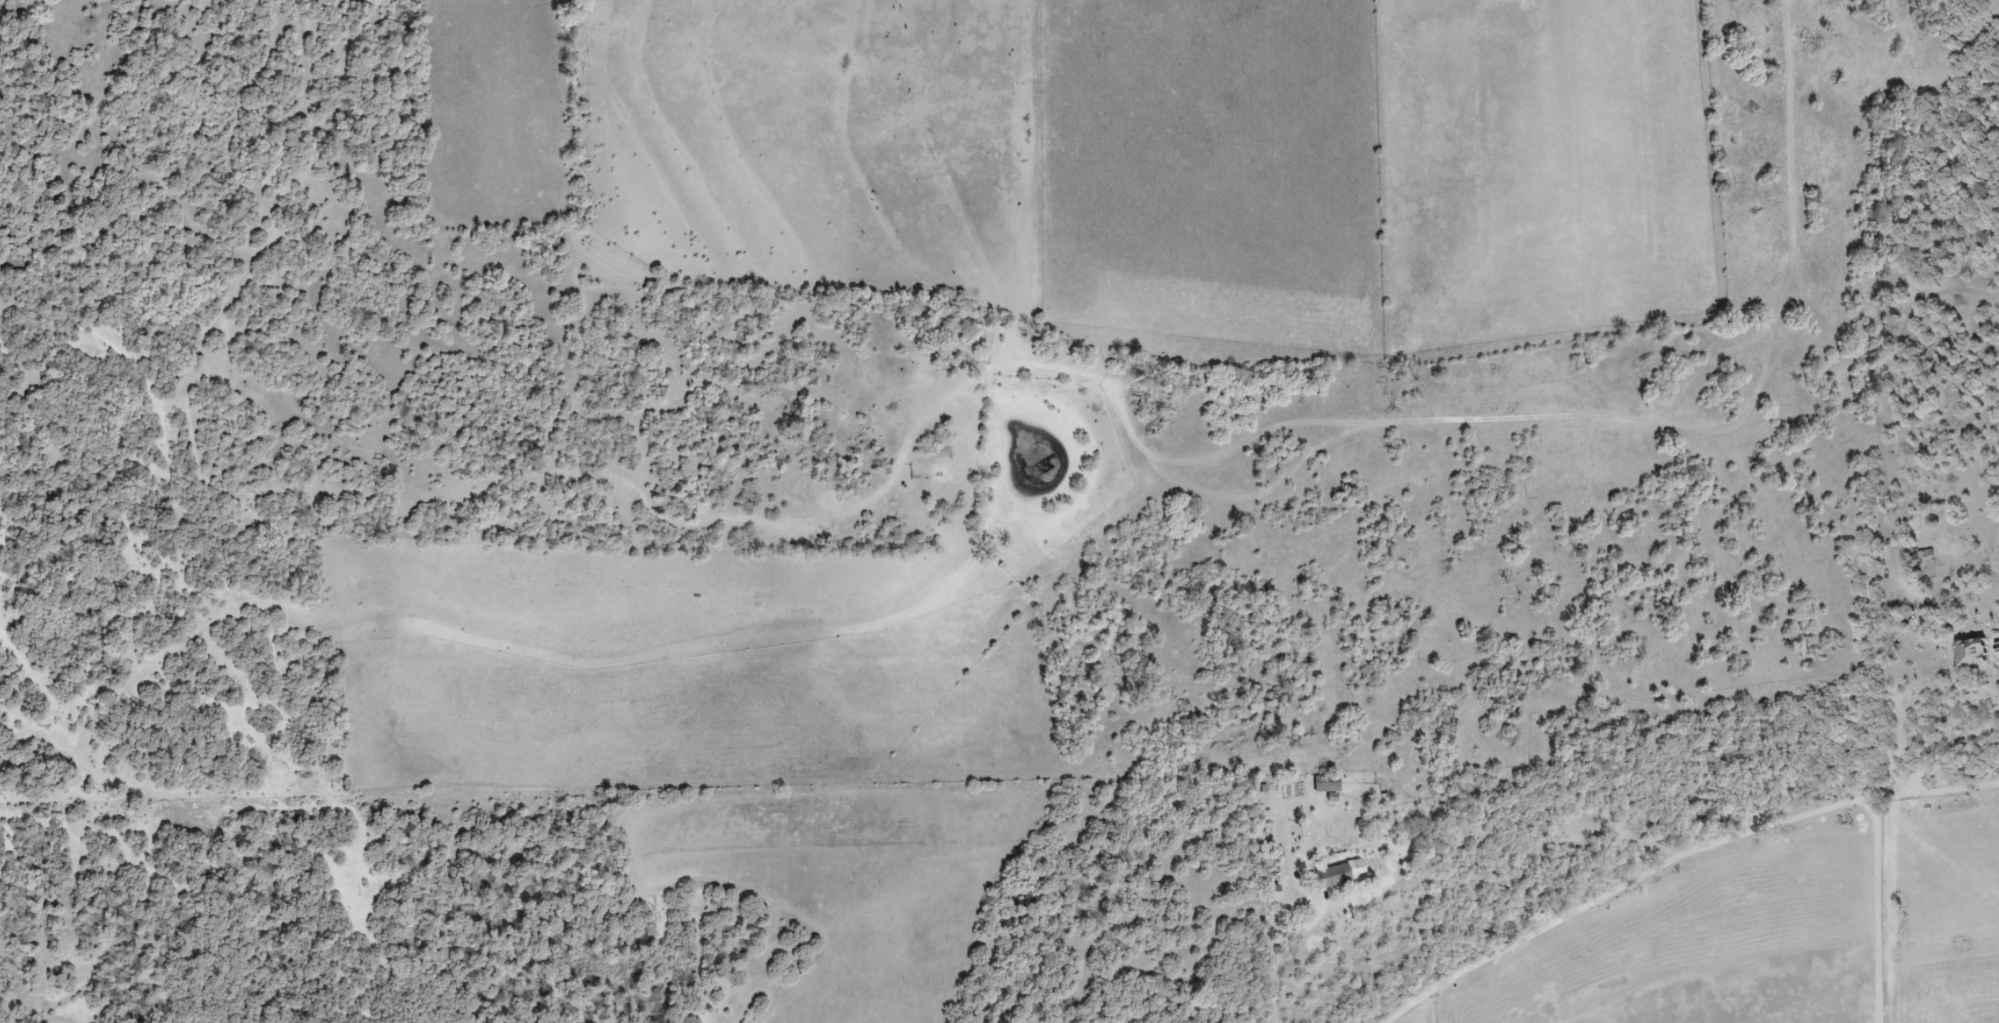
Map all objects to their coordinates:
building: (1971, 654)
building: (1327, 785)
road: (1929, 788)
road: (1718, 841)
building: (1336, 875)
building: (1272, 894)
road: (1281, 966)

